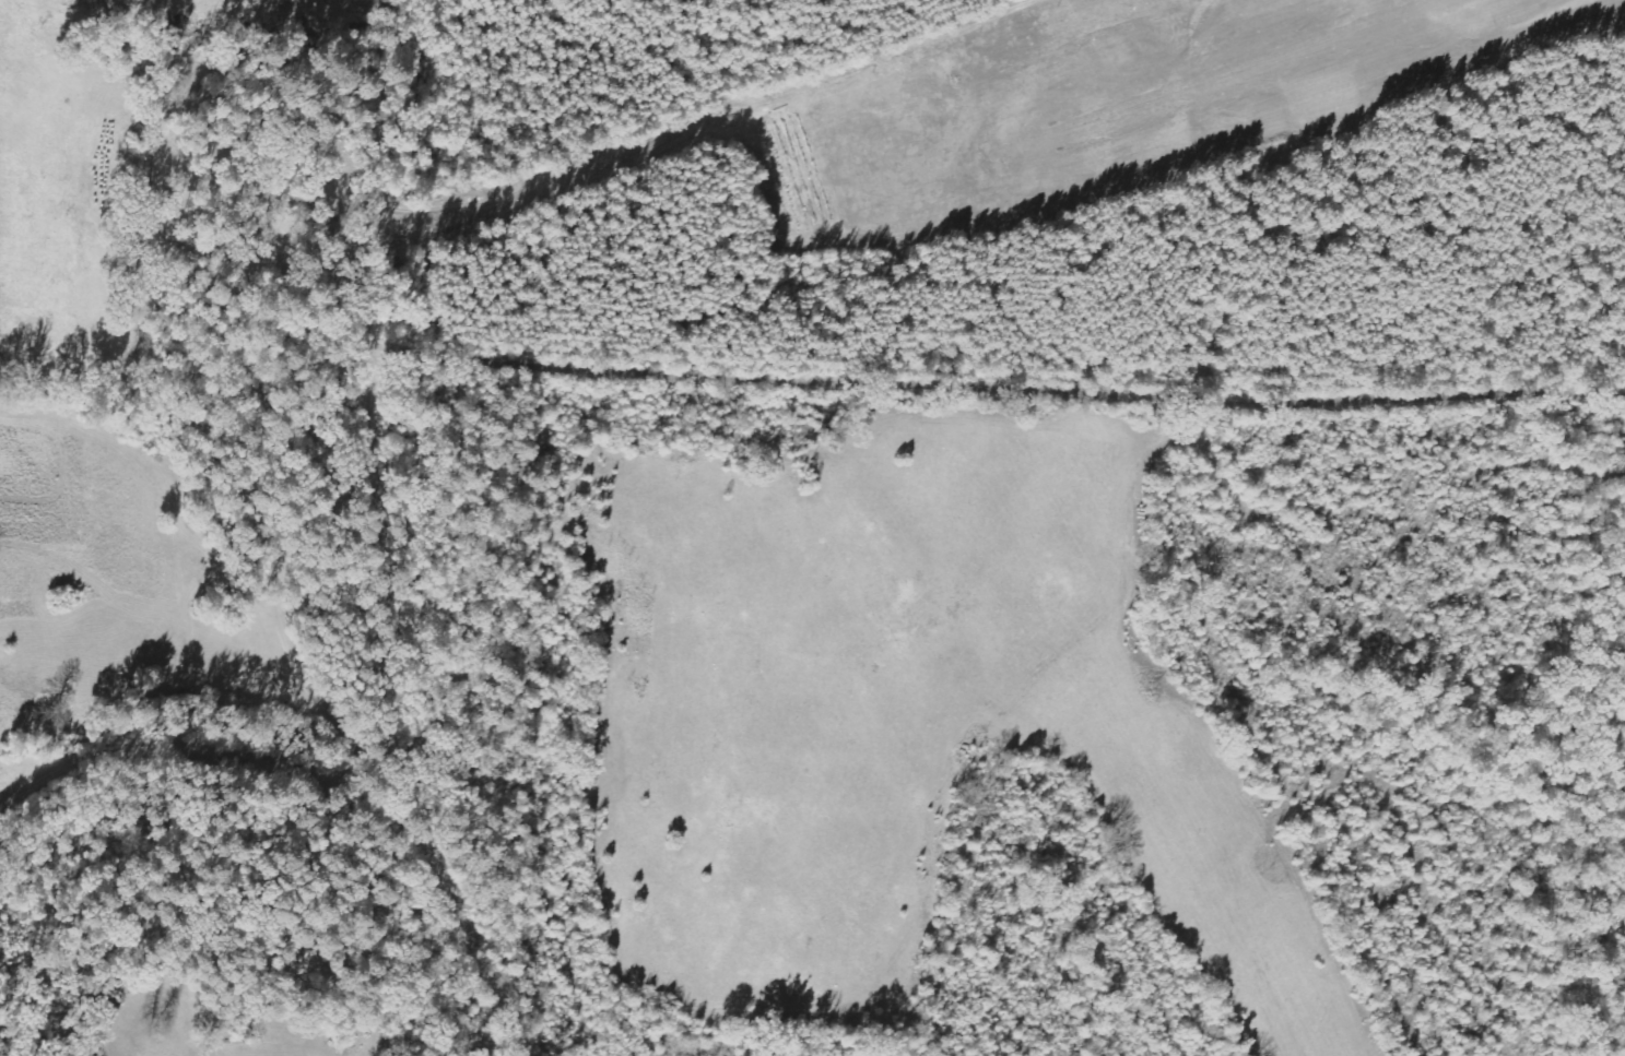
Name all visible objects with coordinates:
airport runway: (1259, 81)
road: (1005, 392)

